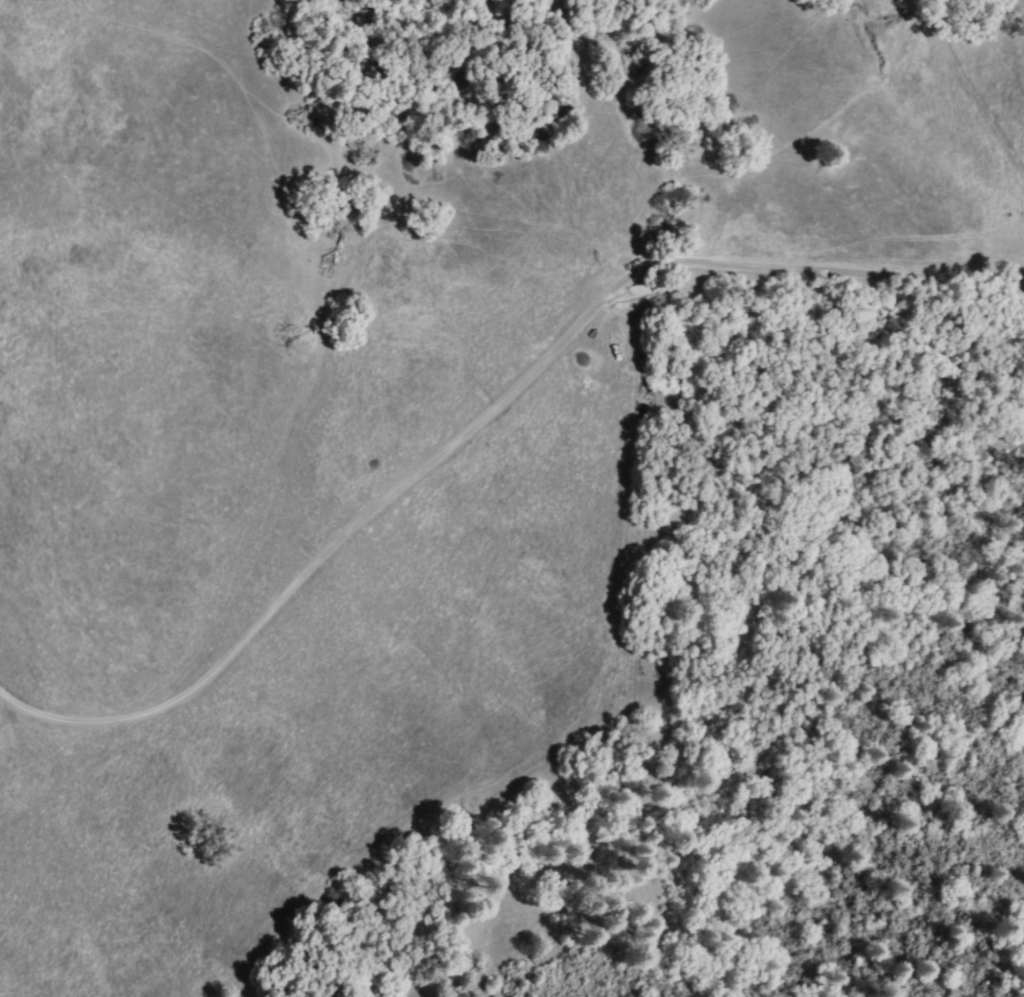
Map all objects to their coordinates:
road: (480, 412)

